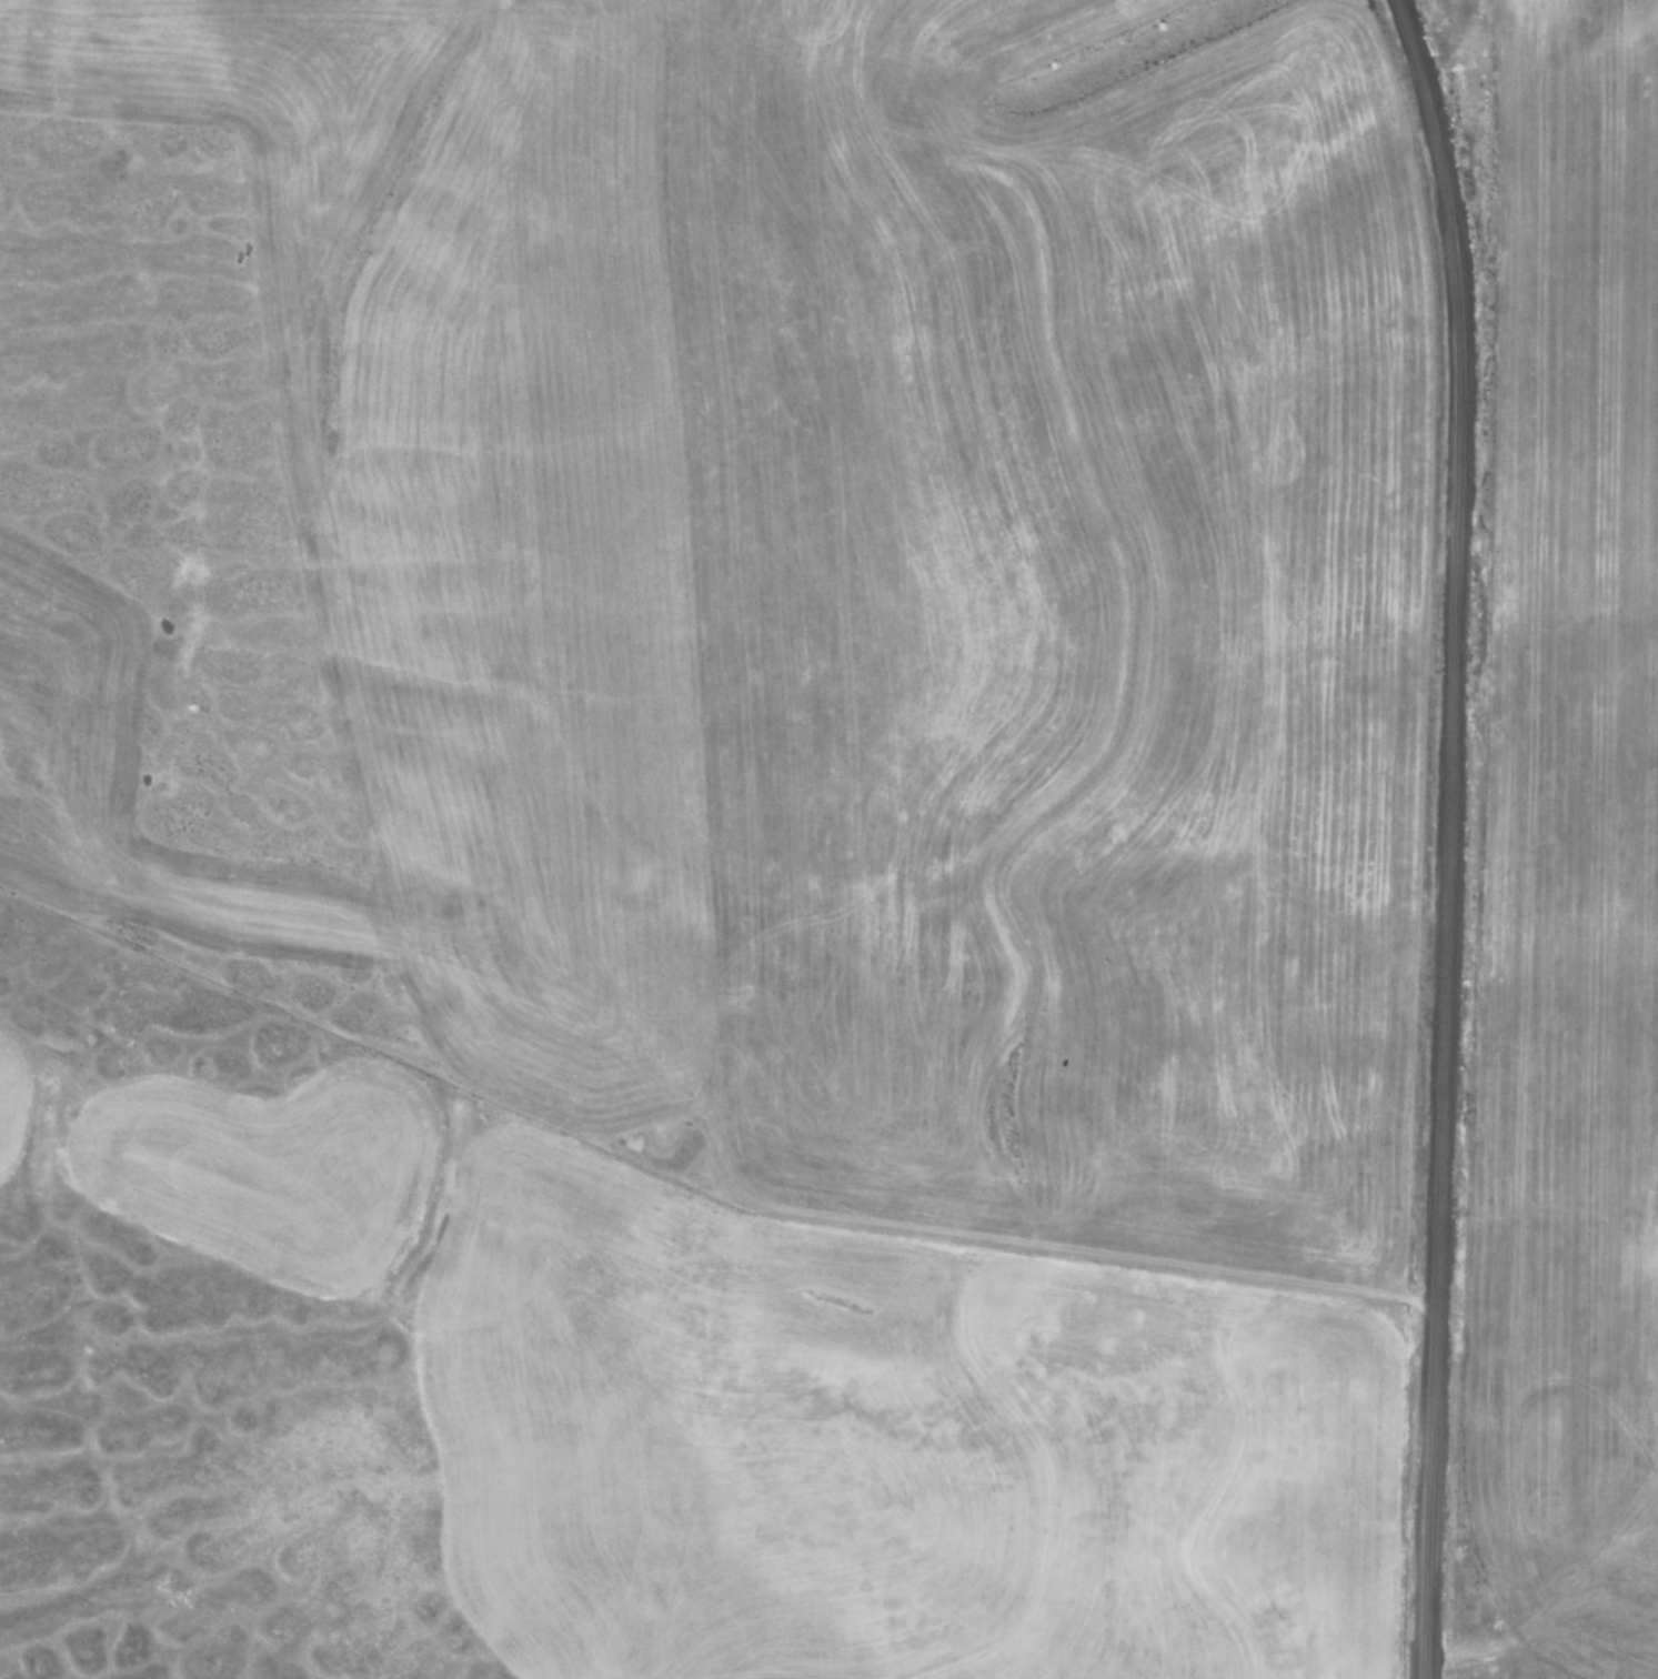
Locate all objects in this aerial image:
road: (1451, 835)

